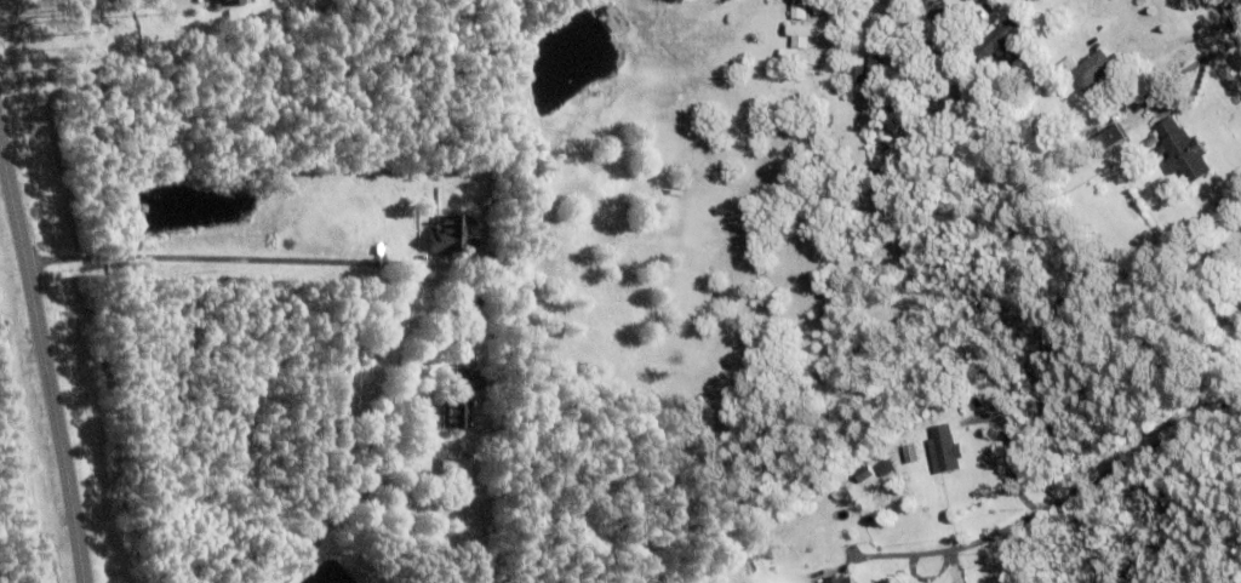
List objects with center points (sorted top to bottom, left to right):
building: (230, 2)
building: (938, 5)
building: (799, 10)
road: (33, 15)
road: (1229, 17)
building: (947, 19)
building: (807, 33)
road: (1180, 38)
building: (1002, 40)
building: (803, 57)
building: (875, 69)
building: (803, 72)
building: (1087, 72)
building: (856, 73)
building: (1053, 73)
building: (978, 81)
building: (1109, 141)
building: (1182, 152)
building: (1076, 154)
building: (451, 235)
building: (1224, 251)
road: (218, 259)
building: (467, 303)
road: (42, 349)
building: (458, 399)
building: (944, 453)
road: (372, 467)
building: (456, 469)
building: (864, 474)
road: (1066, 496)
building: (842, 579)

